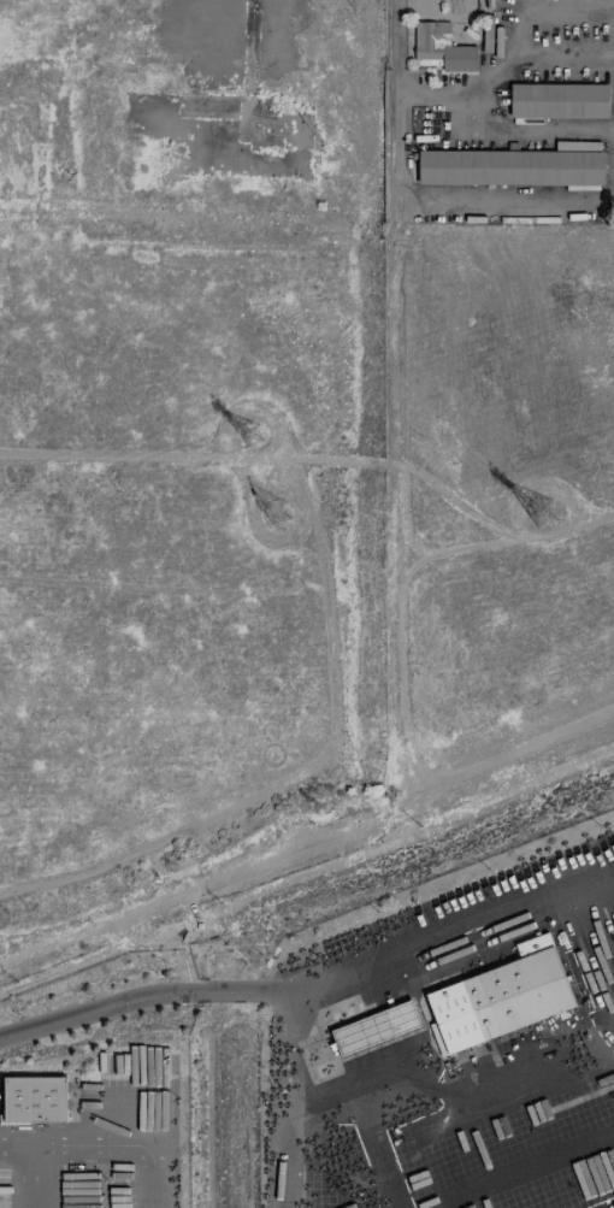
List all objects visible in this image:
building: (442, 47)
road: (500, 69)
building: (560, 100)
road: (392, 106)
road: (529, 136)
building: (510, 167)
road: (506, 196)
power tower: (252, 435)
power tower: (542, 512)
power tower: (278, 513)
road: (313, 982)
building: (456, 1014)
road: (283, 1097)
building: (36, 1100)
road: (366, 1120)
road: (93, 1145)
road: (13, 1155)
road: (515, 1171)

